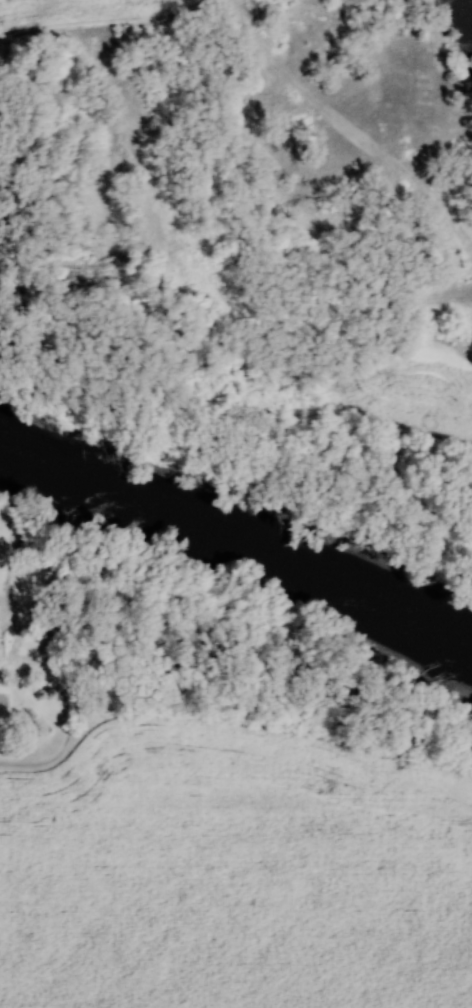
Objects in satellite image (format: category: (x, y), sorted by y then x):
river: (239, 534)
building: (2, 686)

